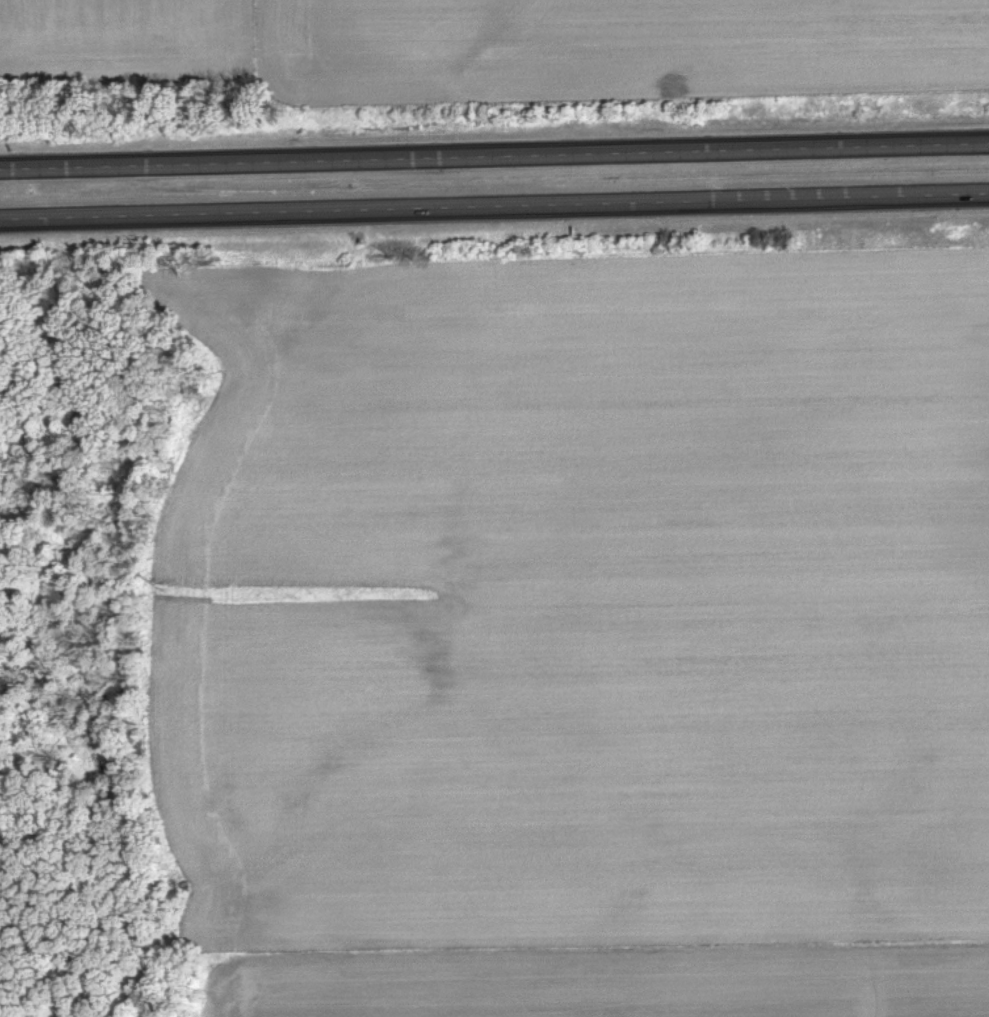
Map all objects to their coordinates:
road: (494, 155)
road: (494, 206)

